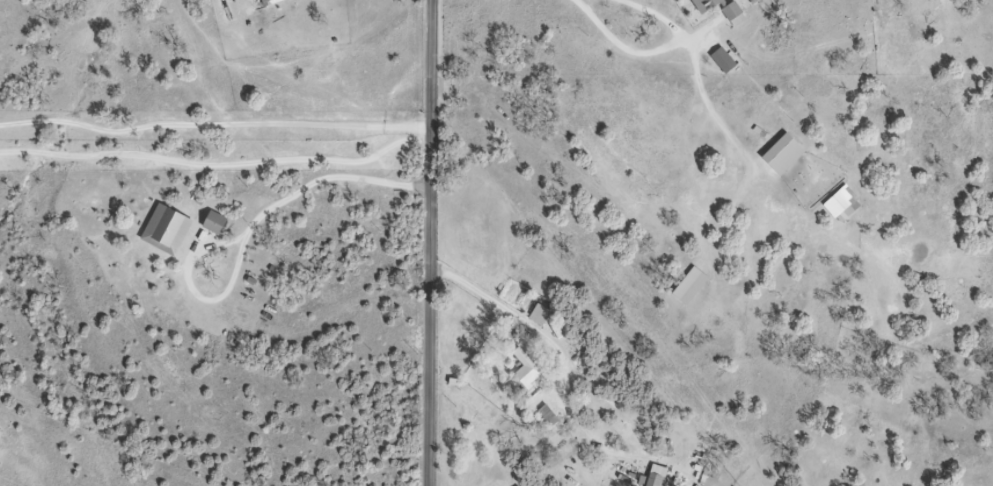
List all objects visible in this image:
building: (271, 2)
road: (660, 9)
building: (726, 11)
road: (215, 128)
building: (777, 156)
road: (220, 167)
building: (844, 204)
building: (217, 224)
building: (169, 230)
road: (255, 235)
road: (432, 243)
building: (686, 287)
road: (482, 291)
building: (538, 316)
building: (523, 370)
building: (544, 417)
building: (654, 477)

